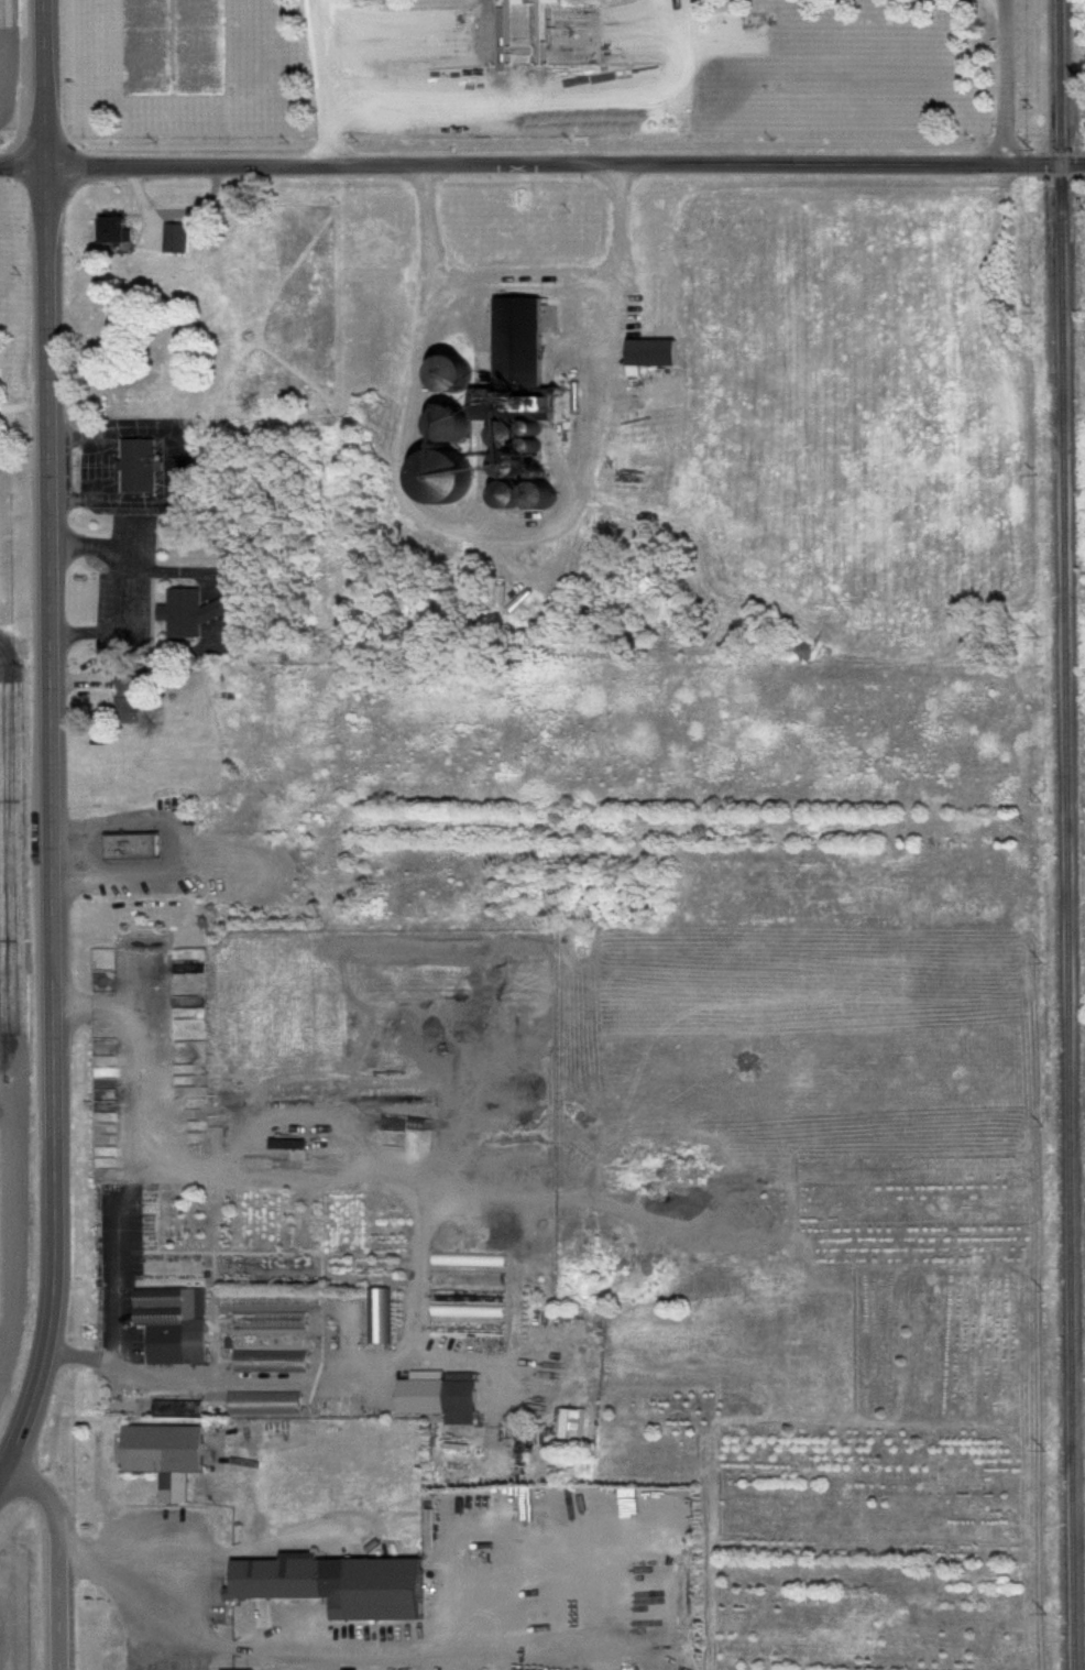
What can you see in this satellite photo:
building: (514, 2)
crop: (10, 67)
road: (329, 80)
road: (536, 80)
road: (43, 81)
road: (1005, 81)
road: (541, 163)
building: (121, 230)
building: (178, 238)
road: (517, 273)
building: (524, 341)
building: (657, 353)
building: (141, 467)
building: (0, 521)
building: (0, 590)
road: (120, 590)
building: (194, 613)
building: (125, 698)
road: (50, 825)
railway: (1064, 834)
building: (136, 849)
crop: (13, 1026)
road: (128, 1046)
building: (292, 1145)
road: (417, 1211)
building: (380, 1317)
building: (177, 1324)
building: (273, 1362)
building: (445, 1397)
building: (267, 1404)
building: (172, 1458)
road: (58, 1557)
building: (348, 1586)
road: (132, 1590)
road: (322, 1649)

